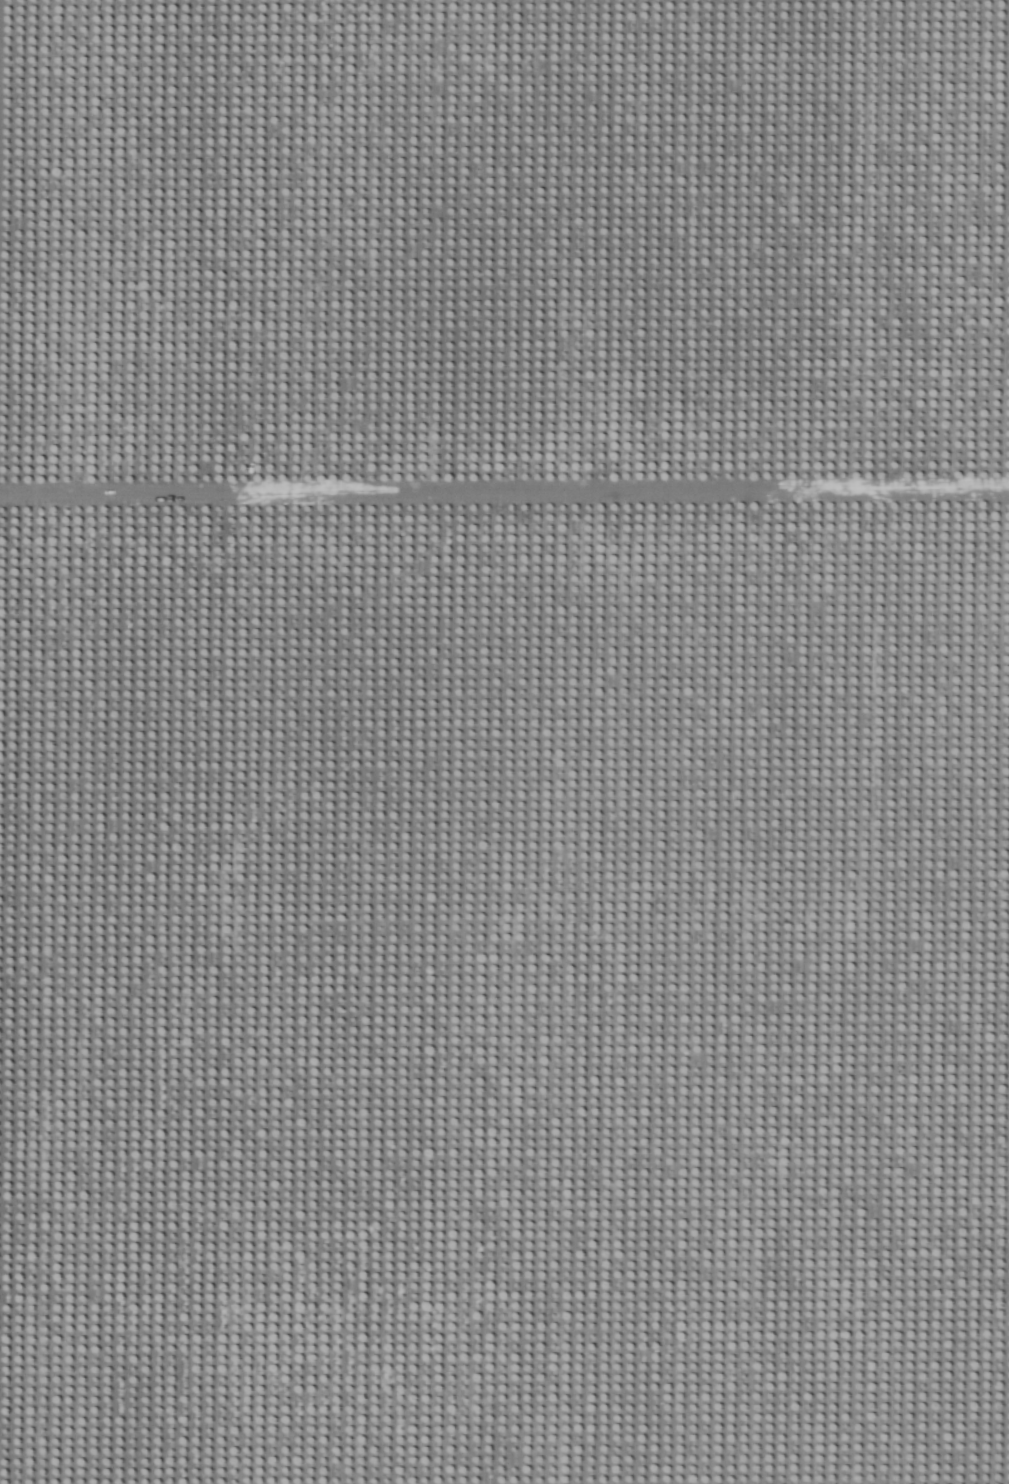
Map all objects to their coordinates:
crop: (504, 742)

